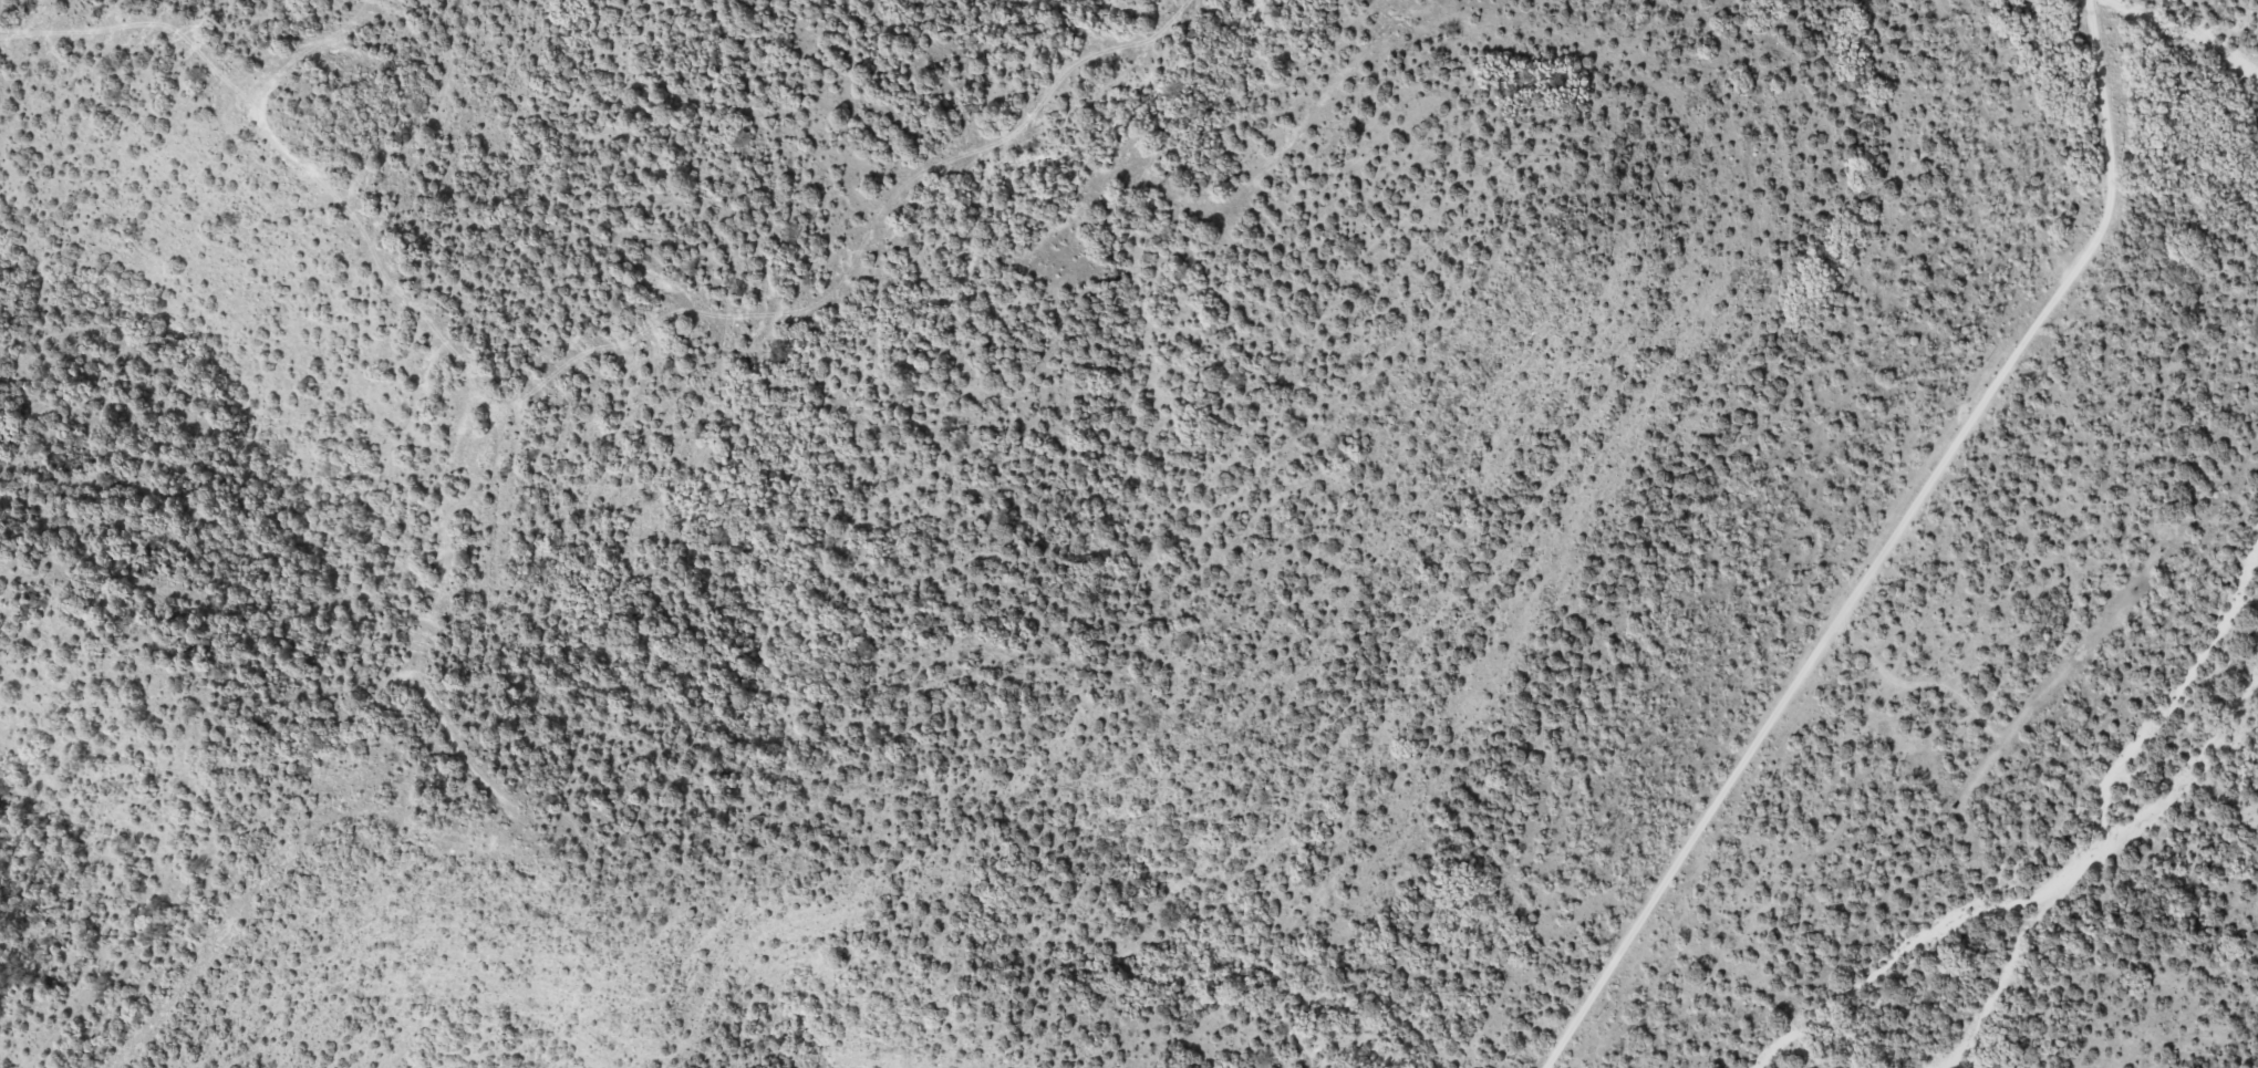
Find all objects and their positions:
road: (1877, 546)

